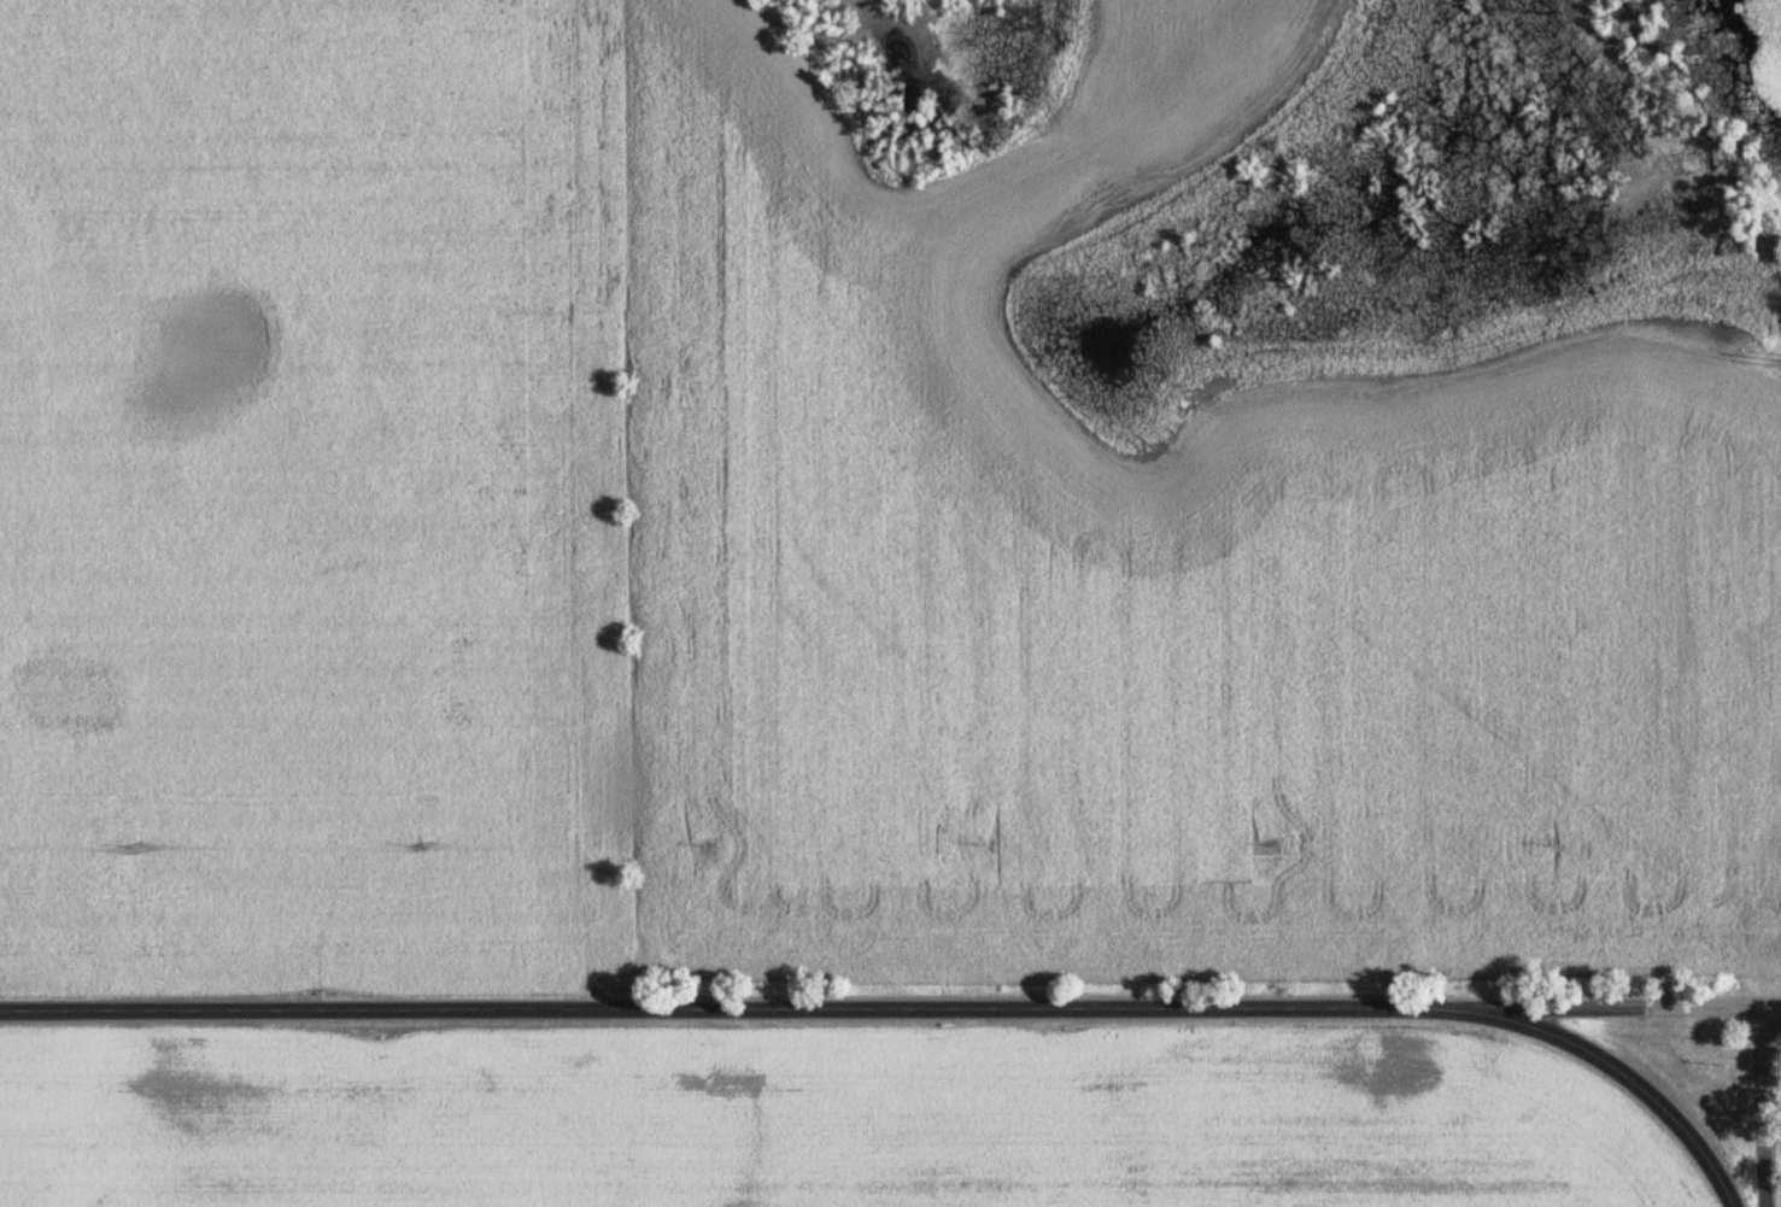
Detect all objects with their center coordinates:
road: (890, 1002)
road: (1635, 1083)
road: (1767, 1105)

